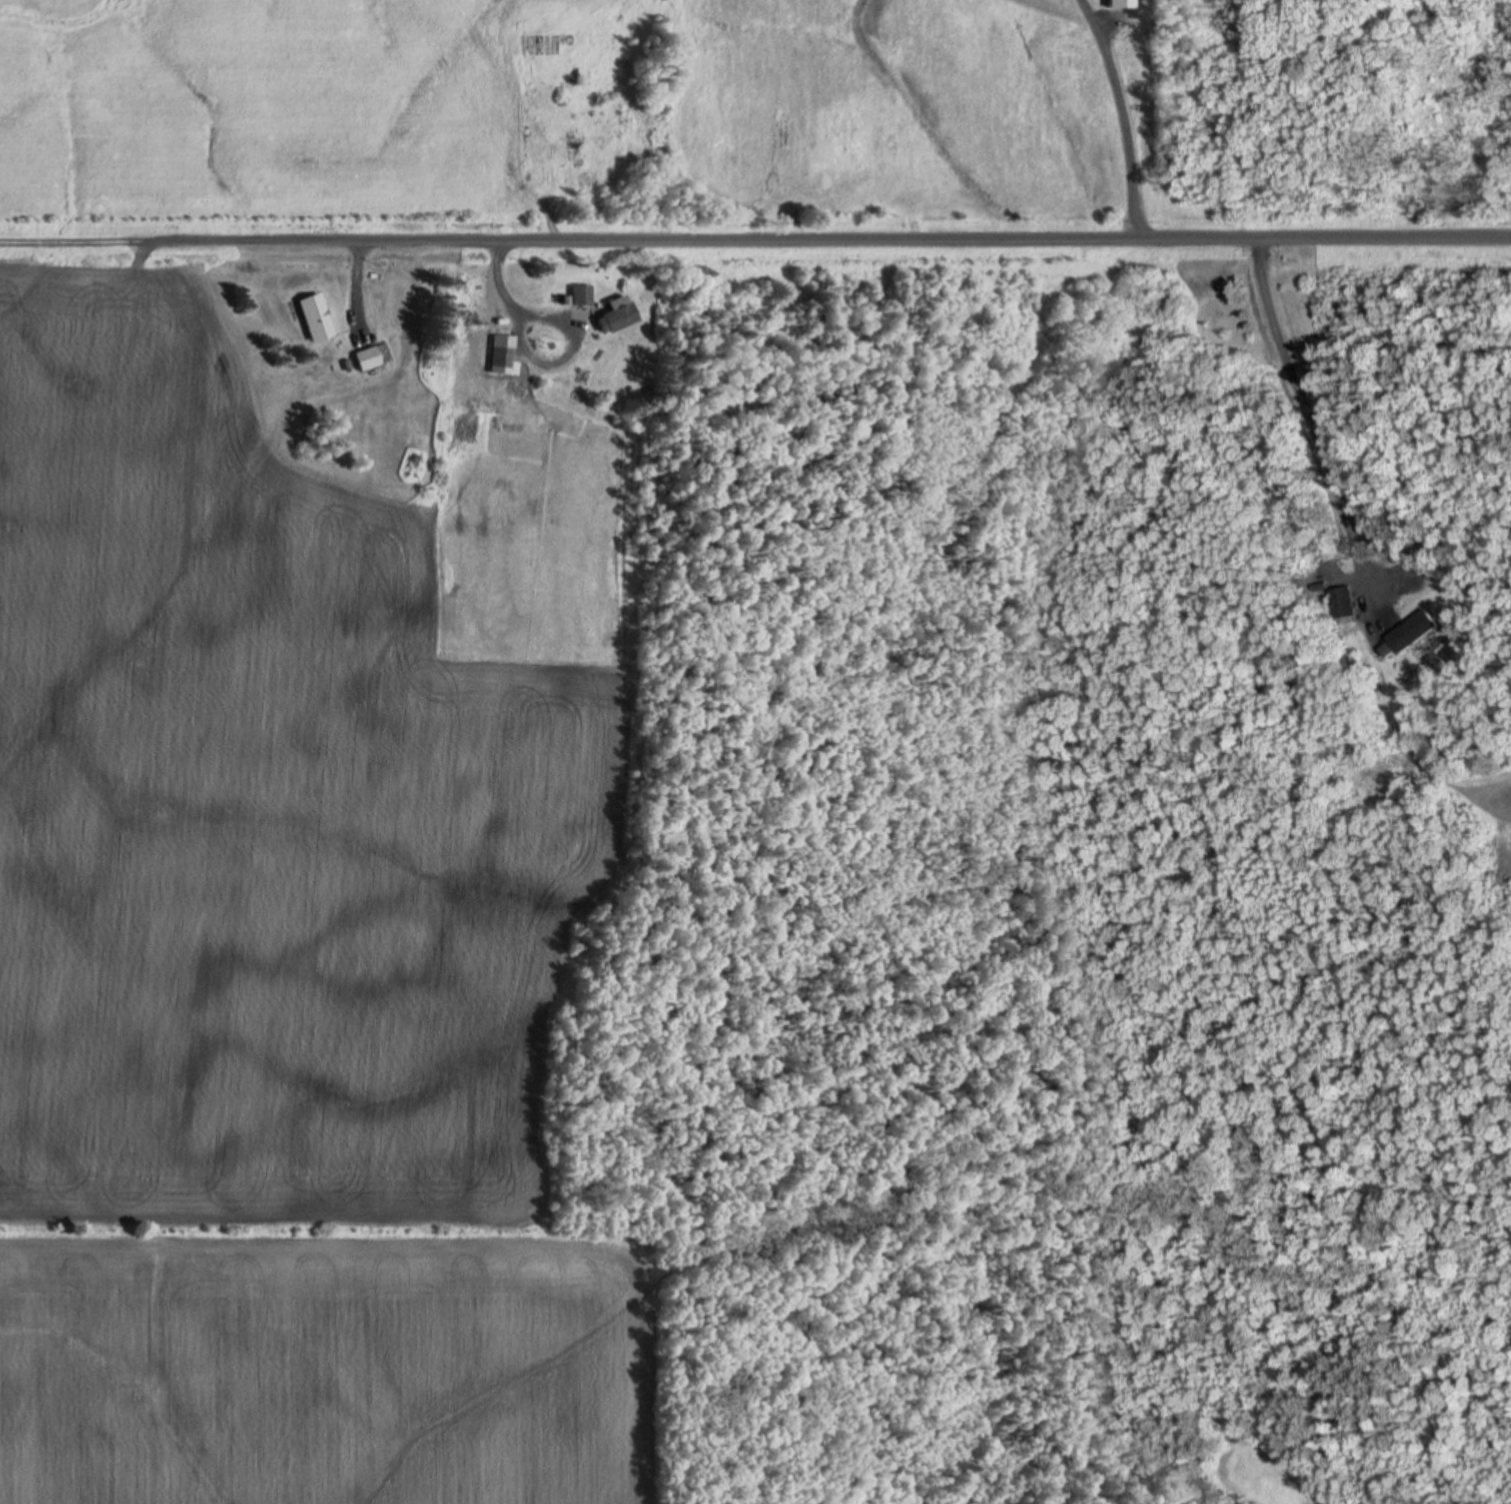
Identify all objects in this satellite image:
building: (1122, 3)
road: (755, 223)
building: (585, 293)
building: (620, 314)
building: (317, 317)
building: (504, 355)
building: (371, 357)
building: (1343, 600)
building: (1407, 632)
building: (1396, 638)

